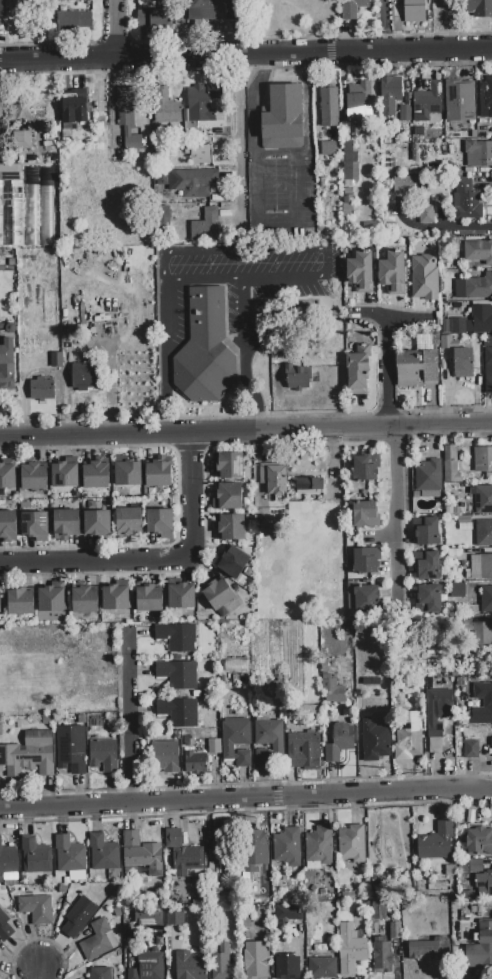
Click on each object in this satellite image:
building: (1, 8)
building: (352, 8)
building: (475, 8)
building: (211, 10)
building: (415, 10)
building: (152, 18)
building: (74, 20)
road: (179, 28)
road: (113, 29)
road: (246, 56)
building: (391, 88)
building: (485, 96)
road: (255, 97)
road: (306, 98)
building: (427, 101)
building: (459, 101)
building: (201, 104)
building: (164, 106)
building: (355, 106)
building: (329, 107)
building: (2, 108)
building: (73, 109)
building: (405, 113)
building: (284, 116)
building: (128, 118)
building: (98, 122)
building: (22, 140)
road: (237, 142)
building: (328, 148)
building: (478, 153)
building: (199, 154)
building: (349, 164)
building: (11, 172)
building: (188, 182)
building: (405, 185)
parking lot: (280, 194)
building: (466, 201)
building: (346, 202)
building: (30, 206)
building: (45, 206)
building: (162, 213)
building: (426, 214)
building: (206, 225)
road: (279, 227)
road: (436, 228)
building: (478, 251)
road: (257, 252)
building: (360, 273)
building: (392, 273)
building: (426, 274)
road: (233, 277)
parking lot: (241, 285)
building: (479, 287)
road: (243, 313)
road: (387, 316)
building: (482, 319)
road: (166, 320)
building: (458, 326)
building: (487, 341)
building: (448, 342)
building: (204, 349)
building: (56, 360)
building: (7, 364)
building: (463, 364)
building: (416, 368)
building: (488, 370)
road: (386, 372)
building: (82, 376)
building: (296, 377)
building: (358, 377)
building: (42, 389)
road: (254, 390)
road: (168, 397)
road: (246, 432)
building: (483, 459)
building: (229, 465)
building: (451, 465)
building: (366, 466)
building: (128, 473)
building: (158, 474)
building: (65, 475)
building: (95, 475)
building: (7, 476)
building: (34, 476)
building: (428, 476)
building: (273, 480)
building: (309, 485)
building: (228, 497)
building: (483, 499)
road: (393, 513)
building: (365, 515)
building: (129, 521)
building: (160, 521)
building: (66, 522)
building: (97, 523)
building: (7, 525)
building: (35, 526)
building: (231, 527)
building: (427, 533)
building: (484, 533)
road: (379, 537)
road: (153, 559)
building: (366, 561)
building: (233, 562)
building: (429, 567)
building: (481, 567)
building: (457, 590)
building: (218, 594)
building: (181, 596)
building: (116, 597)
building: (430, 597)
building: (149, 598)
building: (365, 598)
building: (486, 599)
building: (52, 600)
building: (85, 600)
building: (0, 602)
building: (20, 602)
building: (480, 633)
building: (176, 636)
building: (178, 674)
building: (331, 692)
building: (483, 694)
building: (437, 710)
building: (178, 712)
road: (129, 716)
building: (409, 739)
building: (375, 740)
building: (193, 741)
building: (236, 741)
building: (339, 742)
building: (491, 742)
building: (269, 743)
building: (215, 746)
building: (71, 749)
building: (471, 749)
building: (303, 751)
building: (28, 755)
building: (104, 755)
building: (165, 756)
building: (195, 761)
building: (216, 772)
road: (246, 798)
building: (479, 839)
building: (436, 841)
building: (352, 843)
building: (287, 848)
building: (319, 849)
building: (253, 850)
building: (183, 852)
building: (103, 853)
building: (142, 854)
building: (69, 855)
building: (35, 856)
building: (9, 860)
building: (473, 866)
building: (484, 883)
building: (379, 897)
building: (36, 908)
building: (479, 910)
building: (286, 914)
building: (177, 916)
building: (78, 917)
building: (5, 926)
building: (97, 939)
building: (480, 948)
building: (350, 949)
building: (428, 949)
building: (382, 958)
building: (256, 960)
building: (221, 962)
building: (192, 963)
building: (148, 966)
building: (286, 968)
building: (321, 968)
road: (43, 971)
building: (99, 973)

